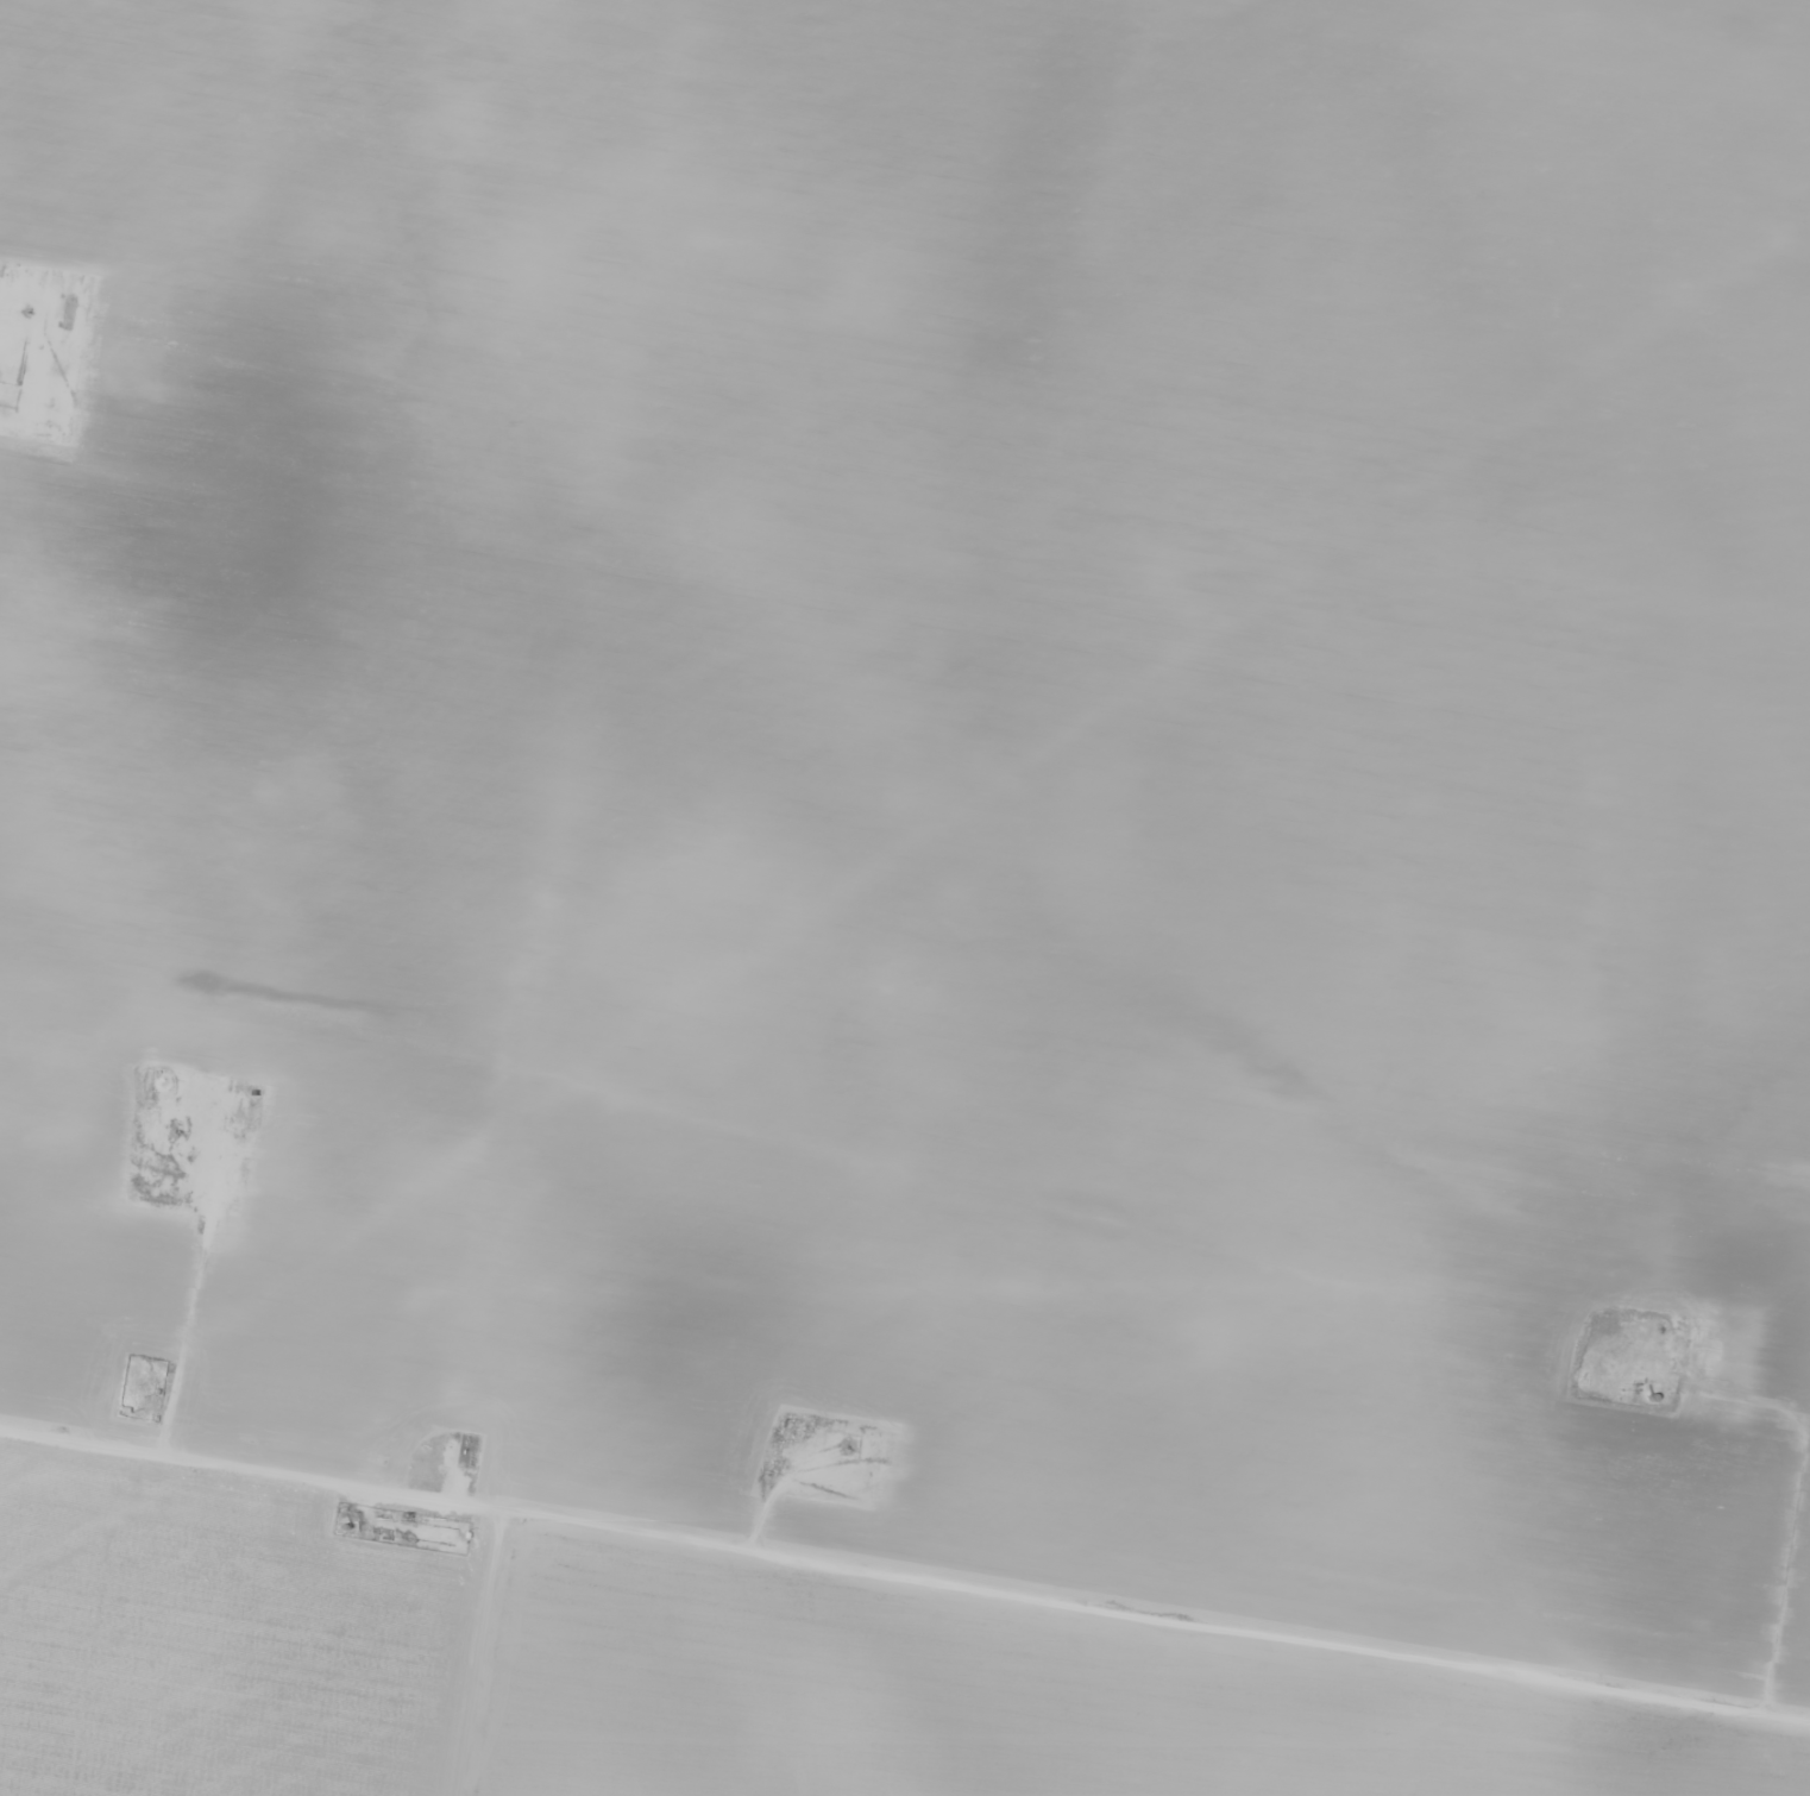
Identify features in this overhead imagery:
road: (905, 1574)

